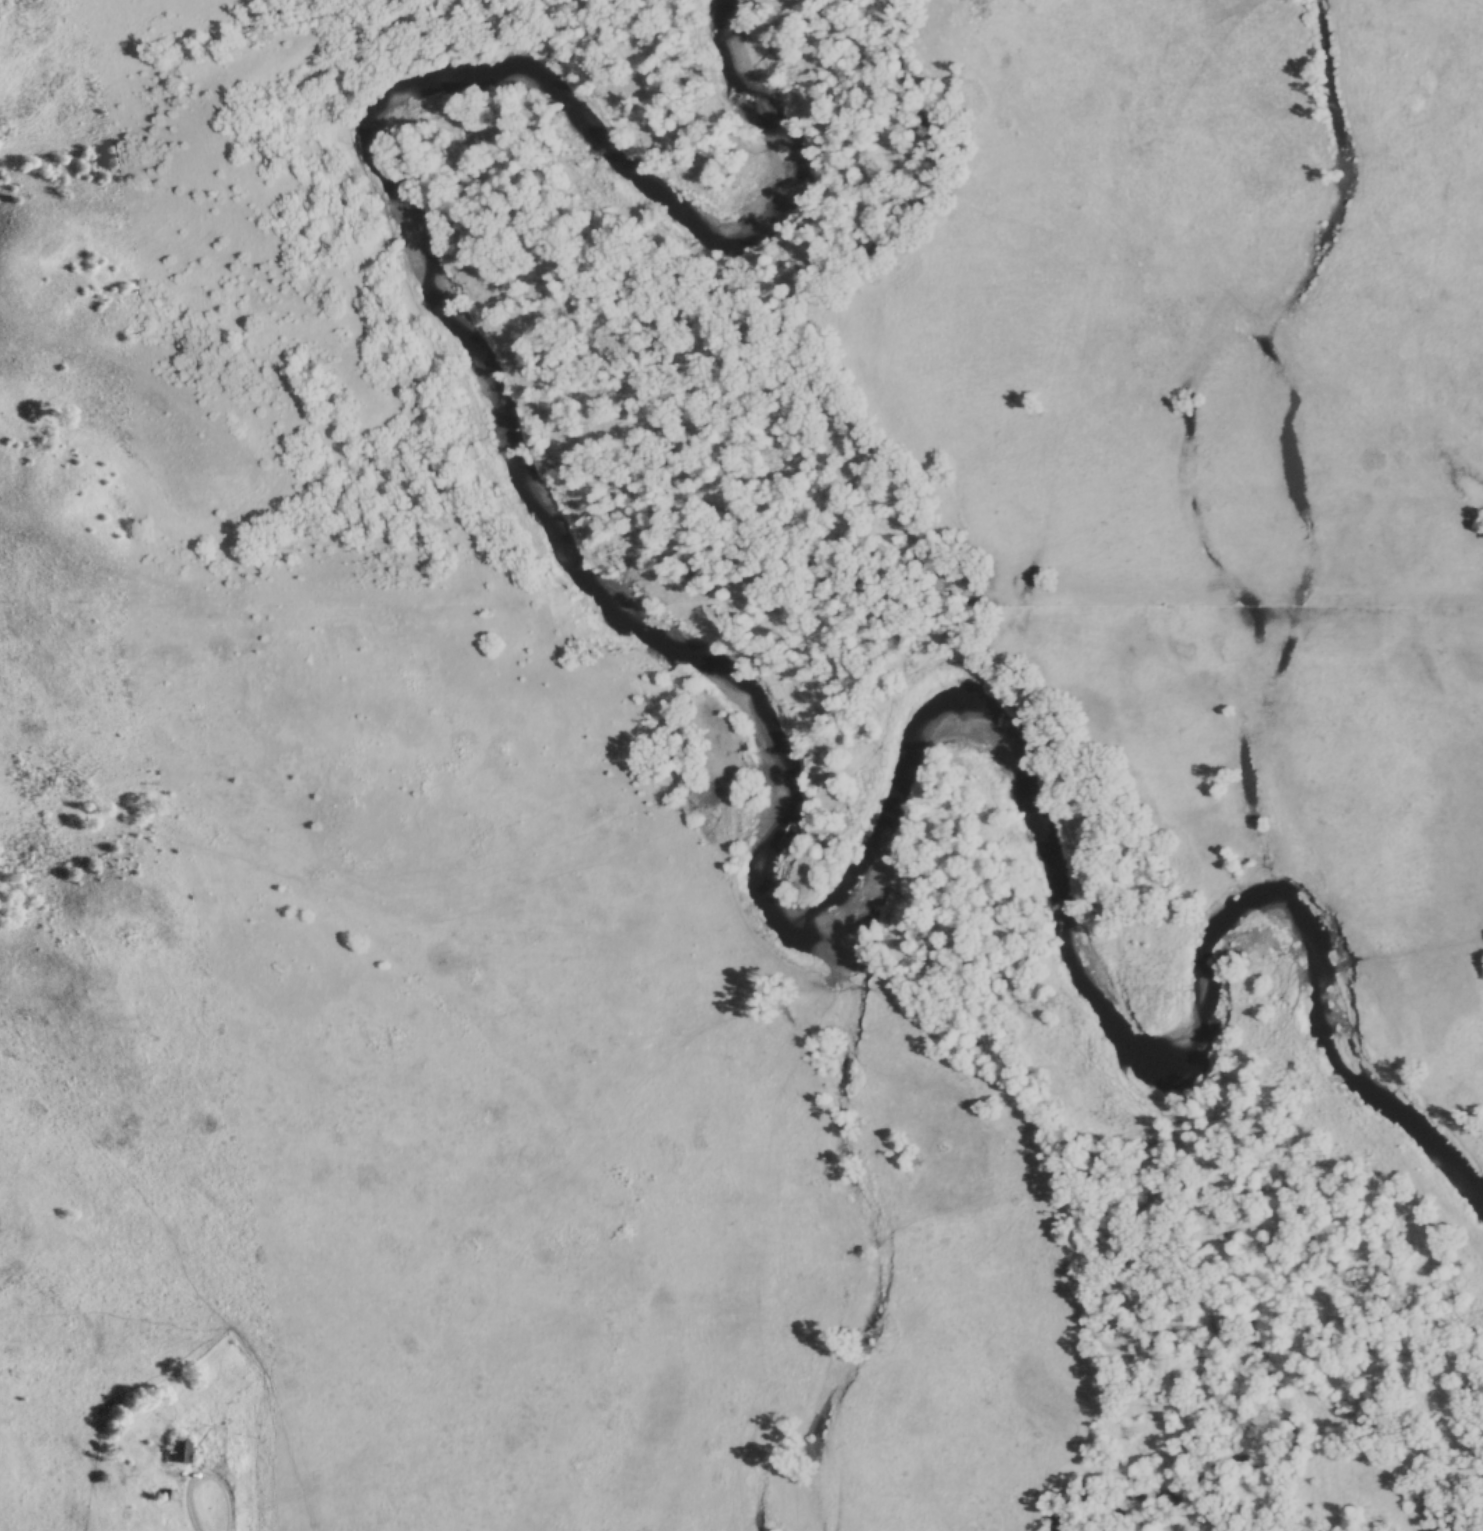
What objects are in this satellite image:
river: (784, 829)
building: (179, 1453)

